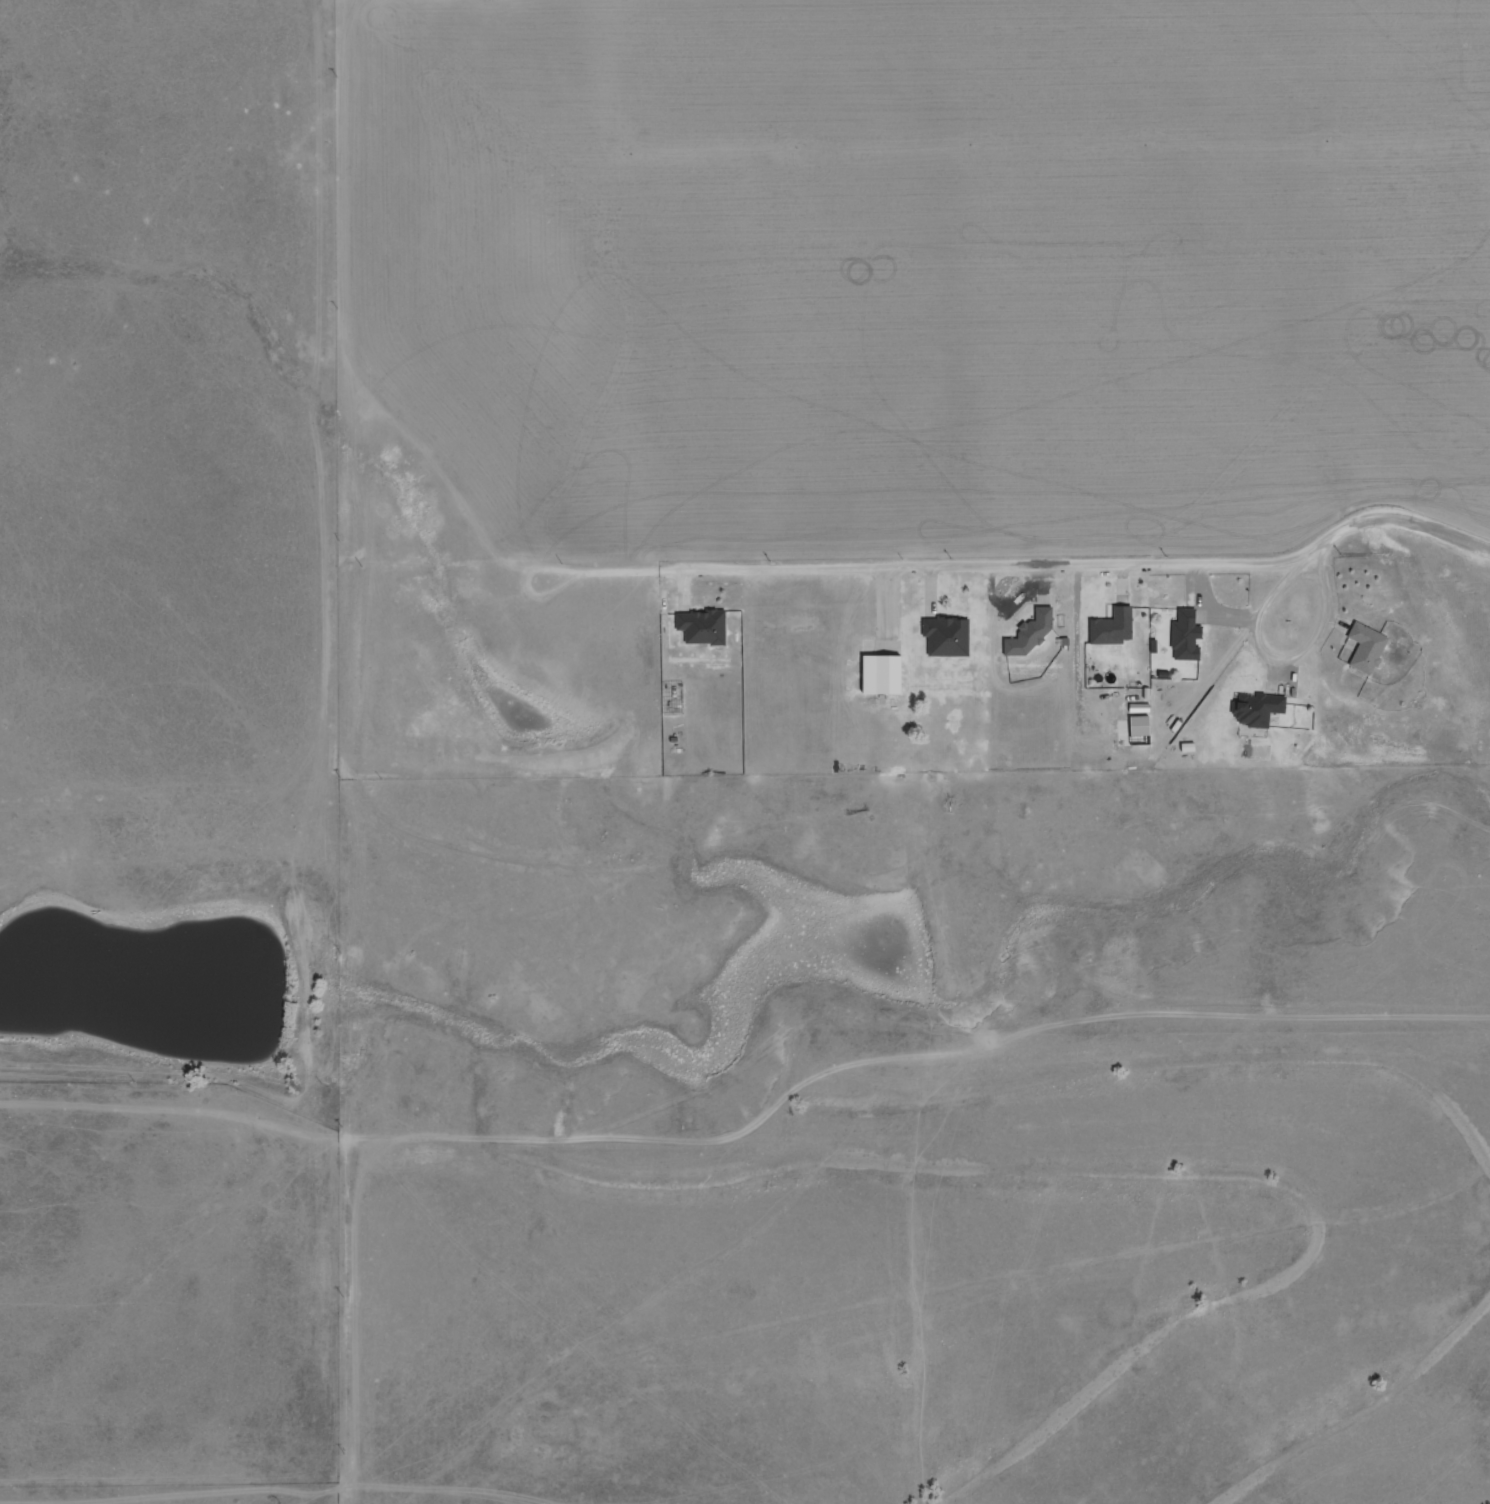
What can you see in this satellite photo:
road: (1097, 572)
building: (701, 627)
building: (1110, 627)
building: (1028, 634)
building: (1183, 636)
building: (944, 637)
building: (1364, 648)
building: (877, 675)
building: (672, 699)
building: (1254, 710)
building: (1136, 726)

